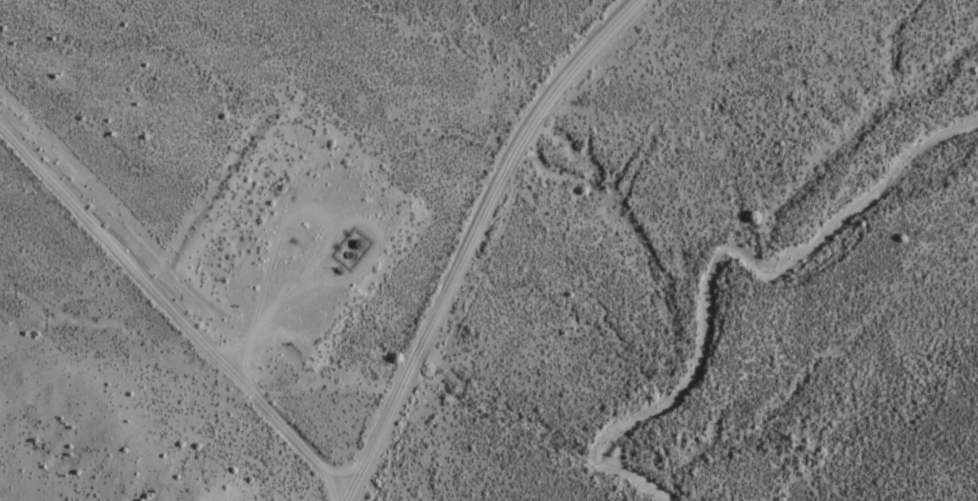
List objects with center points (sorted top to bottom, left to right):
road: (427, 232)
river: (703, 260)
road: (152, 316)

